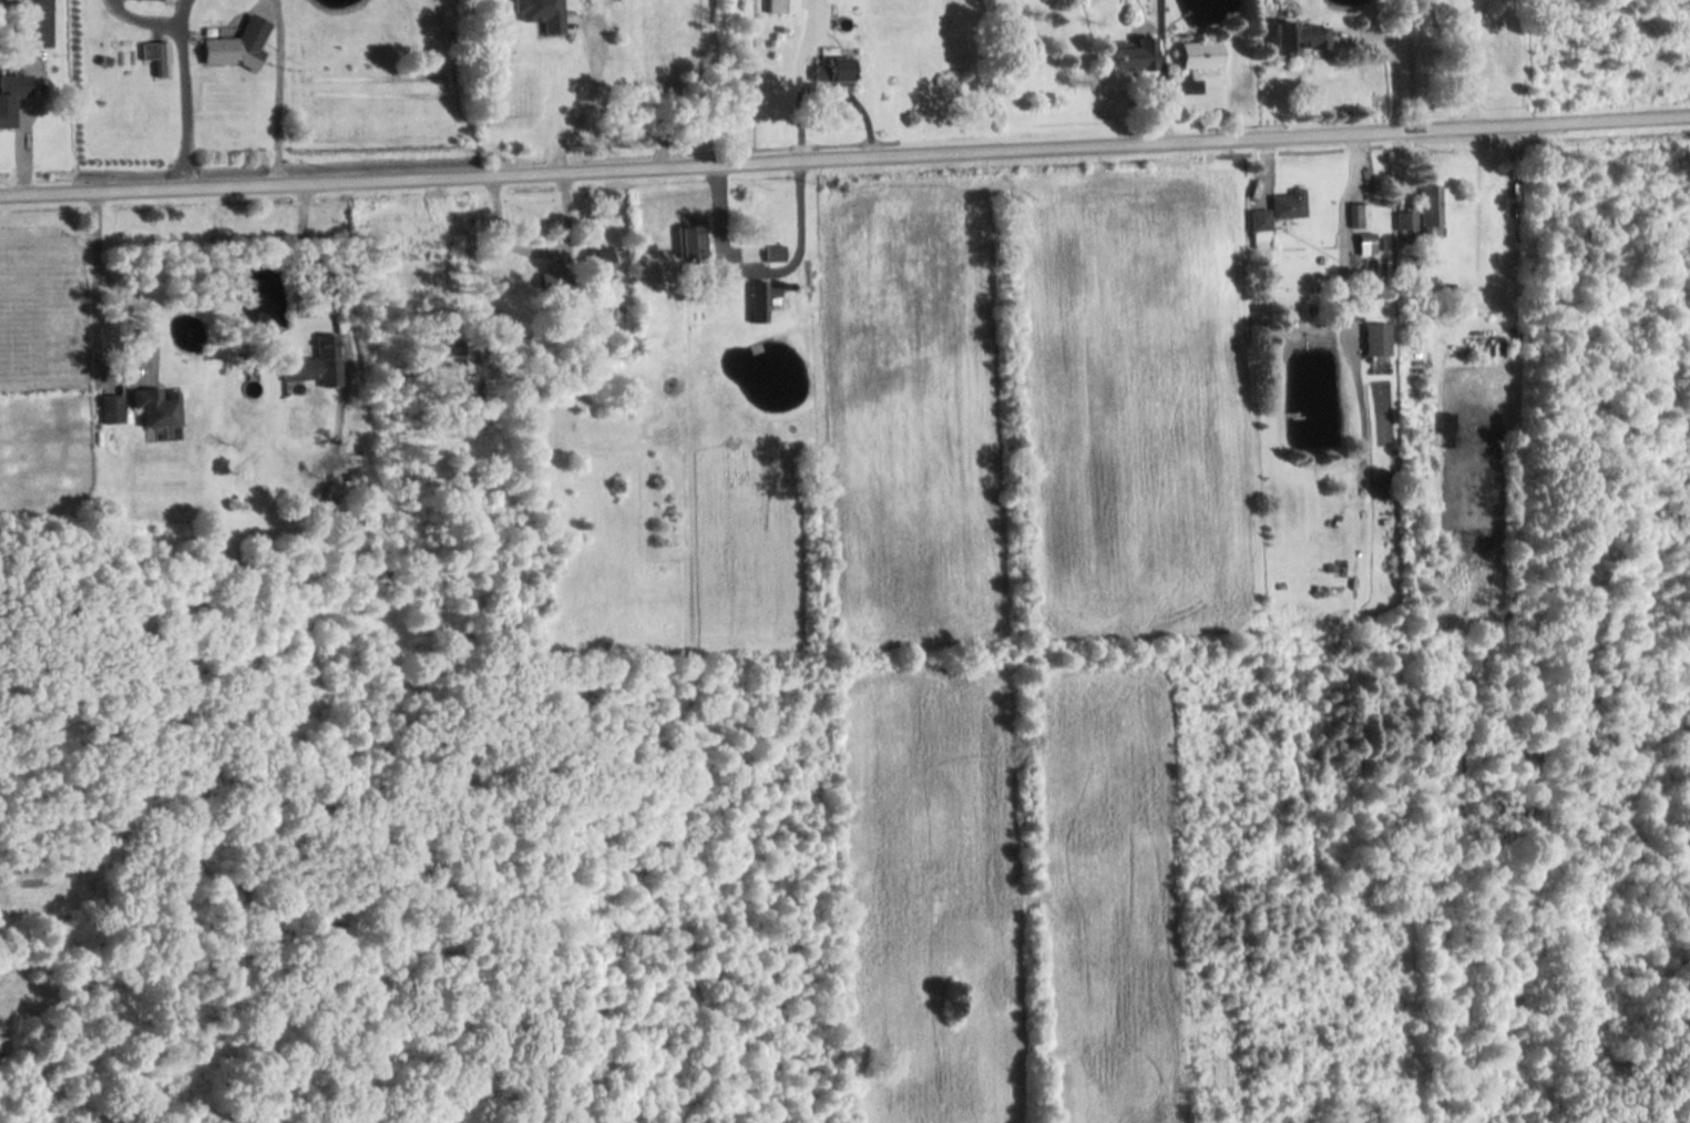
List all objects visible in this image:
building: (779, 7)
building: (537, 14)
building: (1297, 42)
building: (226, 54)
building: (1130, 57)
building: (1195, 57)
road: (1389, 64)
building: (828, 69)
road: (1160, 72)
road: (277, 91)
road: (184, 92)
building: (12, 98)
road: (585, 102)
road: (844, 159)
building: (1287, 205)
building: (1427, 208)
building: (1356, 216)
building: (1258, 229)
road: (1342, 237)
building: (689, 239)
building: (1364, 245)
building: (771, 254)
road: (297, 257)
road: (92, 270)
road: (762, 273)
building: (755, 303)
building: (1374, 340)
building: (316, 364)
building: (158, 407)
building: (111, 409)
building: (340, 491)

